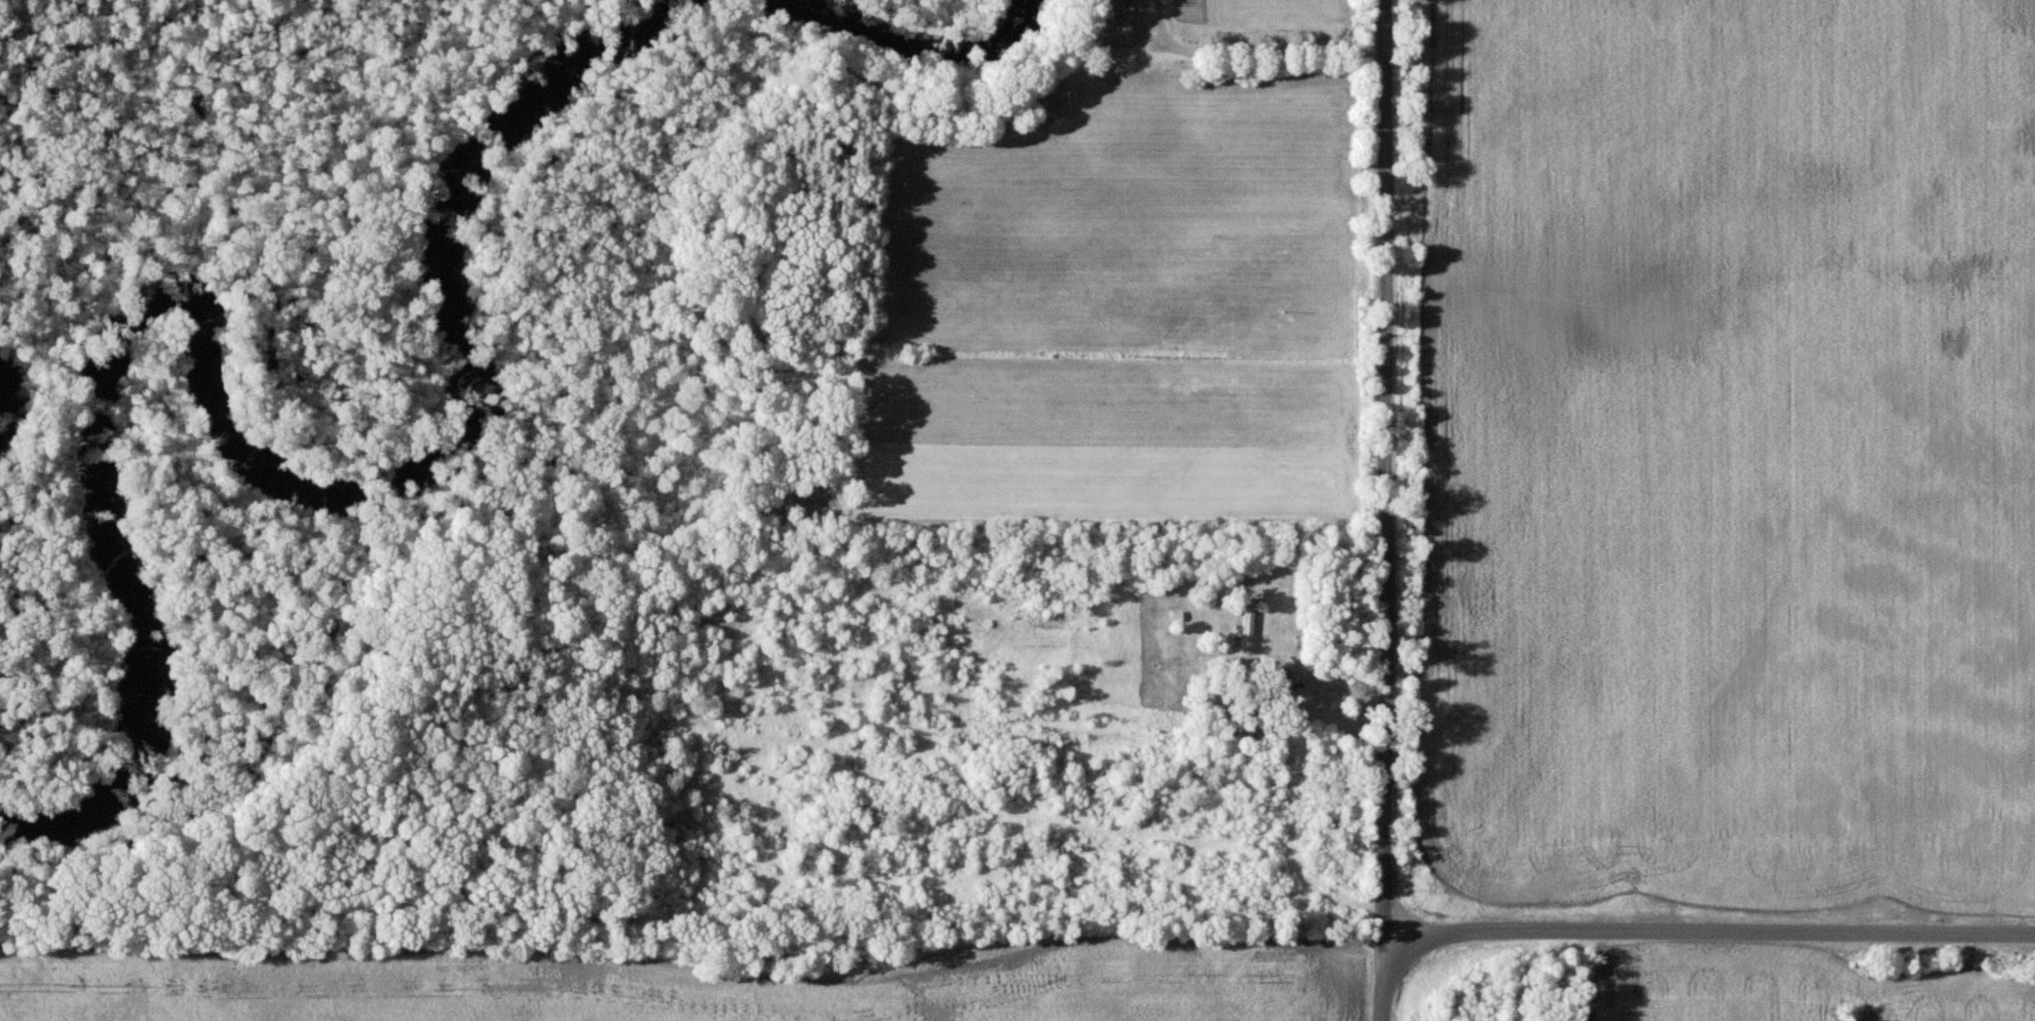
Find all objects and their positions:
road: (1253, 46)
road: (1164, 387)
river: (230, 434)
road: (1384, 467)
building: (1248, 626)
building: (1277, 672)
road: (1710, 939)
road: (1386, 977)

